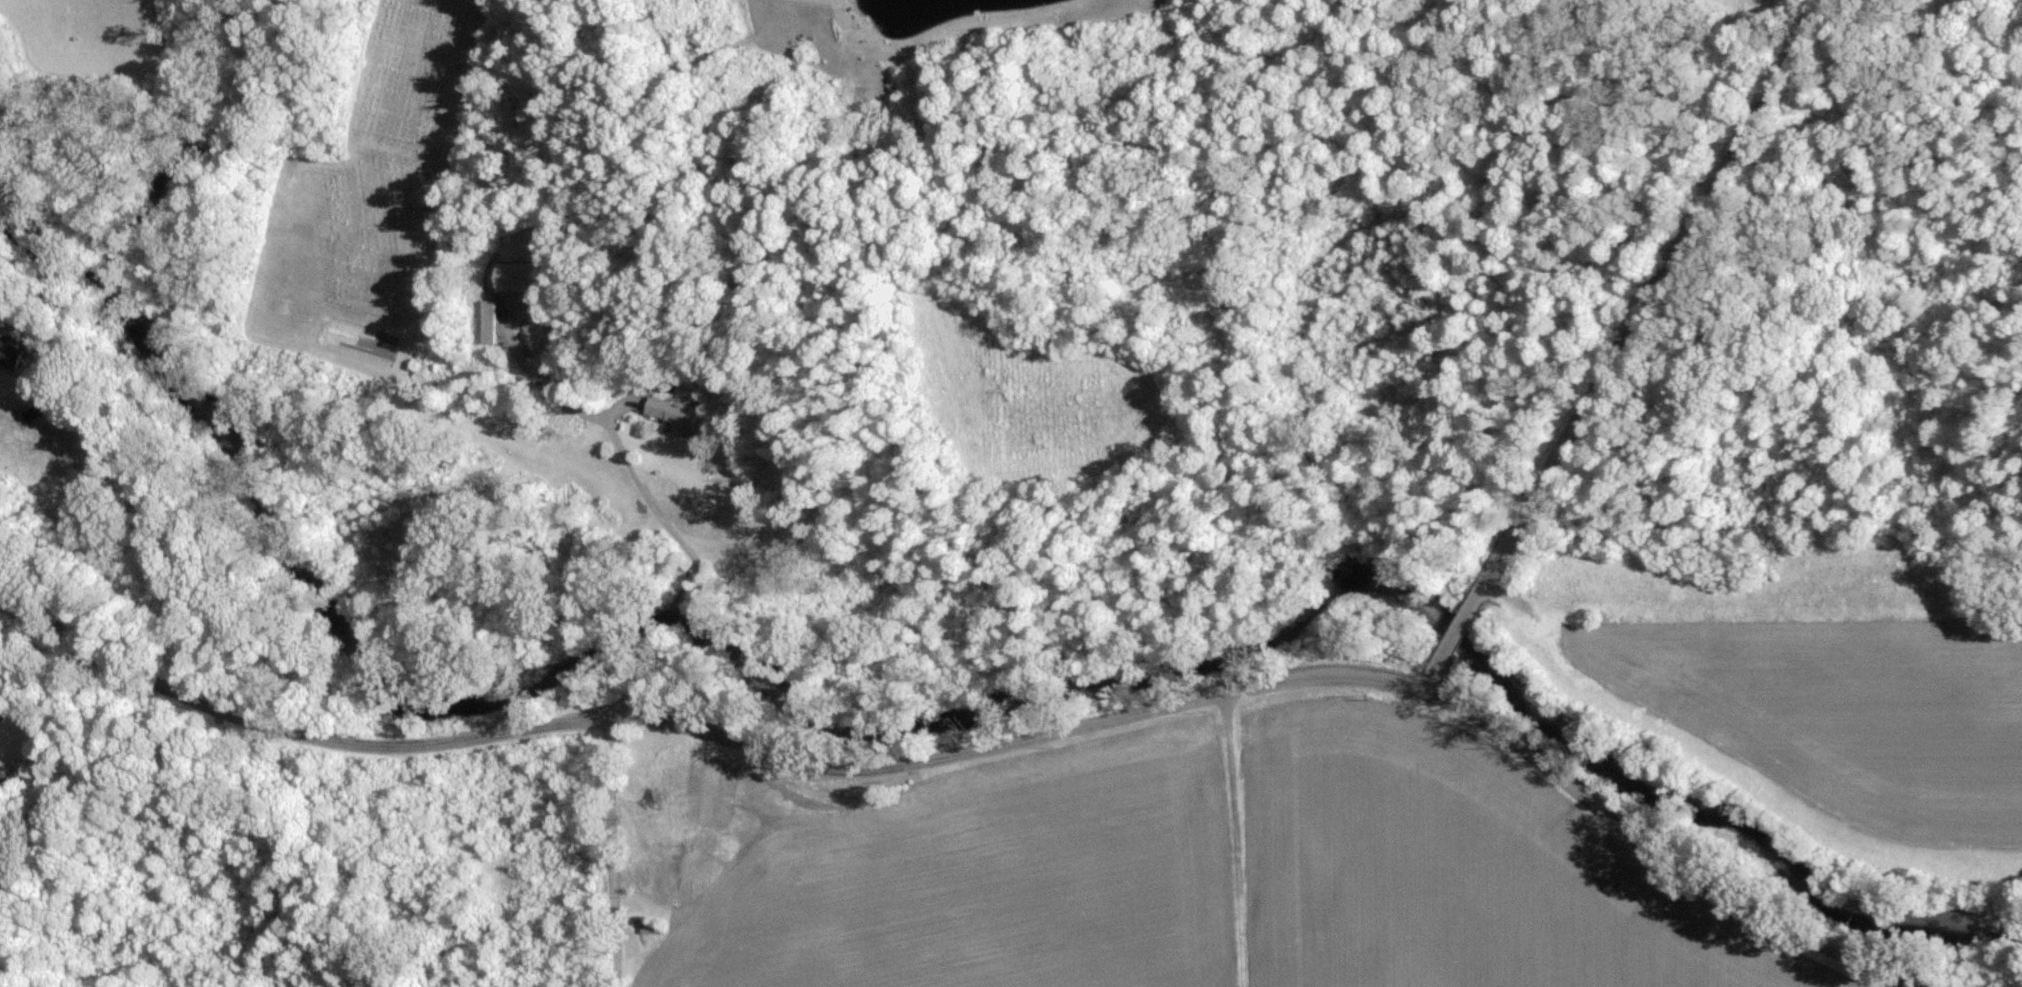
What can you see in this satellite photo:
building: (519, 275)
road: (1648, 295)
building: (10, 351)
building: (678, 414)
road: (625, 465)
road: (3, 579)
road: (1460, 633)
road: (43, 681)
road: (716, 734)
road: (611, 852)
road: (1659, 855)

